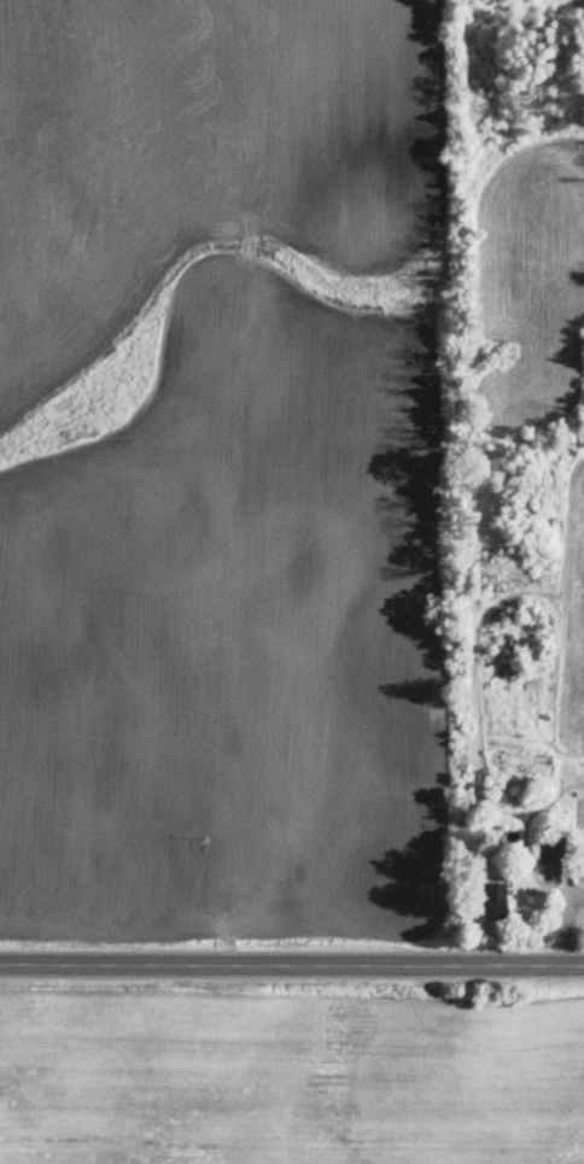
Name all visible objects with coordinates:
building: (555, 850)
building: (491, 901)
road: (292, 963)

